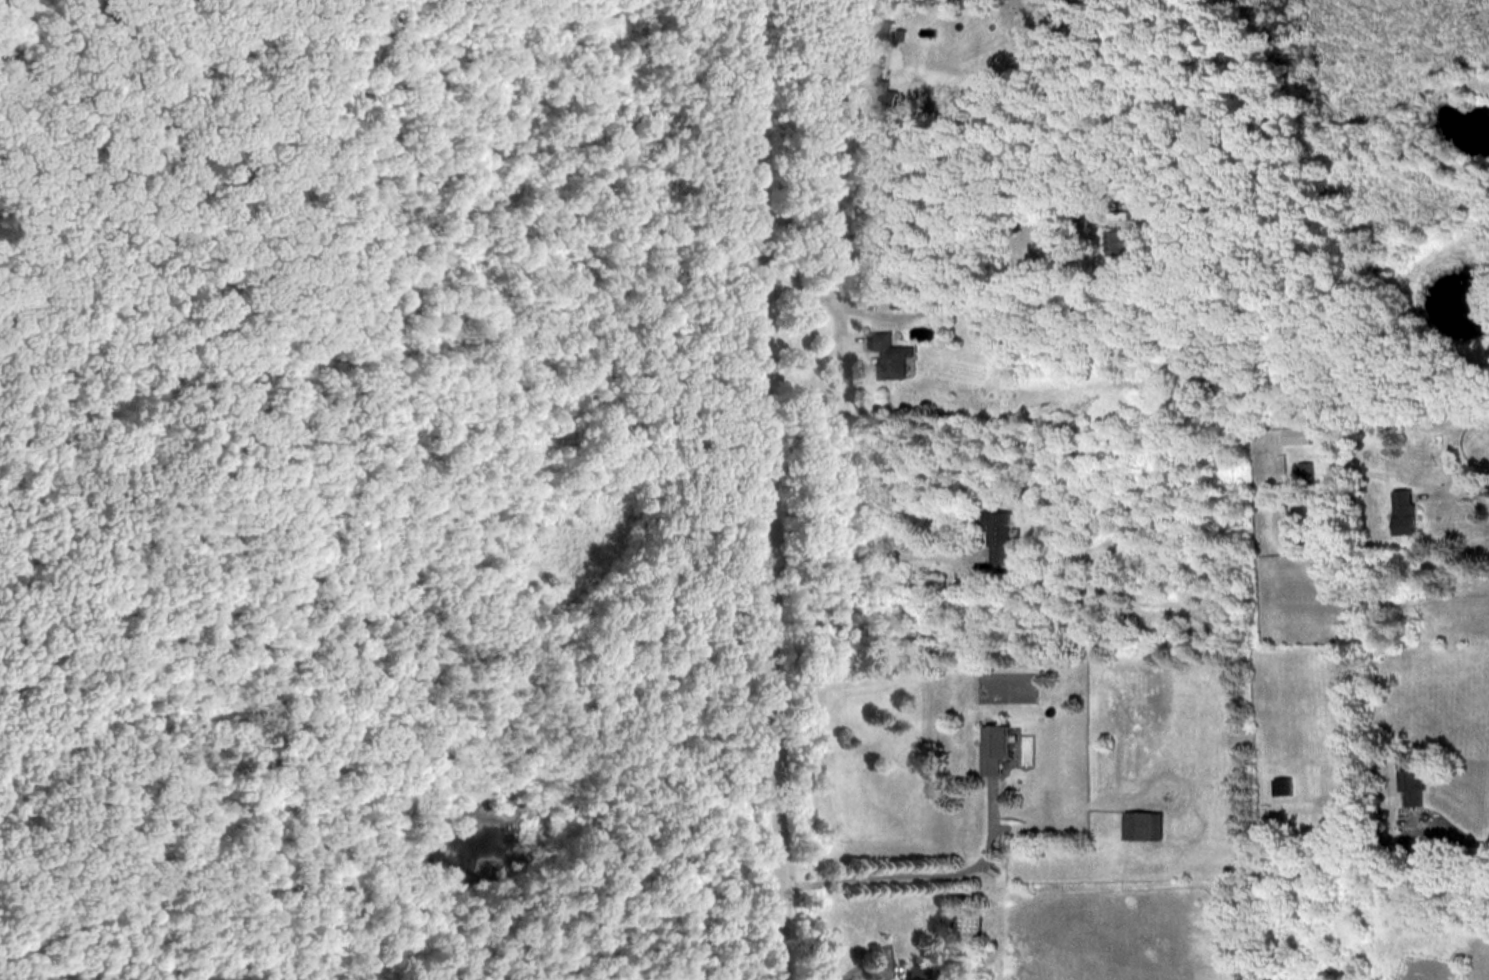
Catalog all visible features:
building: (887, 28)
road: (815, 32)
building: (882, 91)
road: (921, 234)
road: (972, 304)
road: (820, 354)
building: (893, 355)
building: (1219, 376)
building: (1298, 436)
building: (1307, 471)
road: (1473, 489)
road: (771, 490)
park: (378, 493)
building: (1408, 513)
building: (1003, 537)
road: (873, 554)
building: (1131, 622)
building: (1003, 748)
building: (1410, 779)
building: (1280, 786)
building: (1136, 825)
road: (1469, 836)
road: (919, 887)
building: (923, 971)

